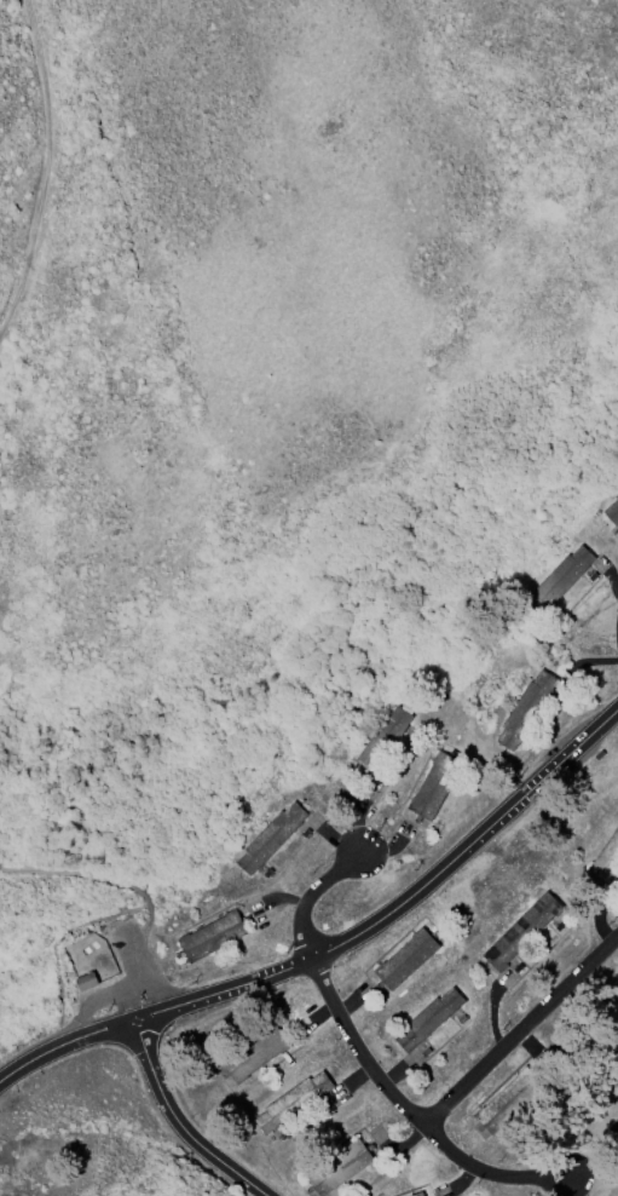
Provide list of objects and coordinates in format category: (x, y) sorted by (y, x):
road: (51, 169)
building: (614, 507)
building: (566, 575)
building: (530, 708)
building: (389, 740)
building: (438, 786)
building: (275, 838)
building: (608, 858)
road: (0, 867)
road: (138, 886)
road: (310, 895)
road: (402, 905)
building: (526, 930)
building: (215, 937)
road: (57, 942)
building: (412, 960)
building: (89, 983)
building: (437, 1017)
road: (521, 1029)
road: (64, 1042)
building: (259, 1052)
building: (510, 1099)
building: (296, 1104)
road: (412, 1109)
road: (178, 1123)
building: (341, 1167)
building: (418, 1195)

